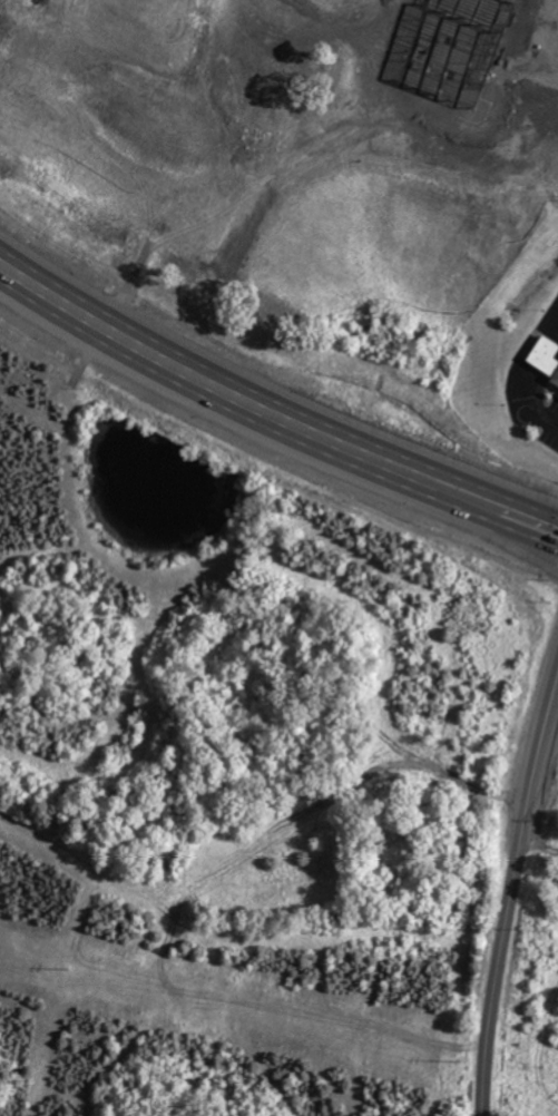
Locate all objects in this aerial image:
building: (544, 362)
road: (271, 415)
road: (552, 424)
road: (540, 743)
road: (498, 959)

